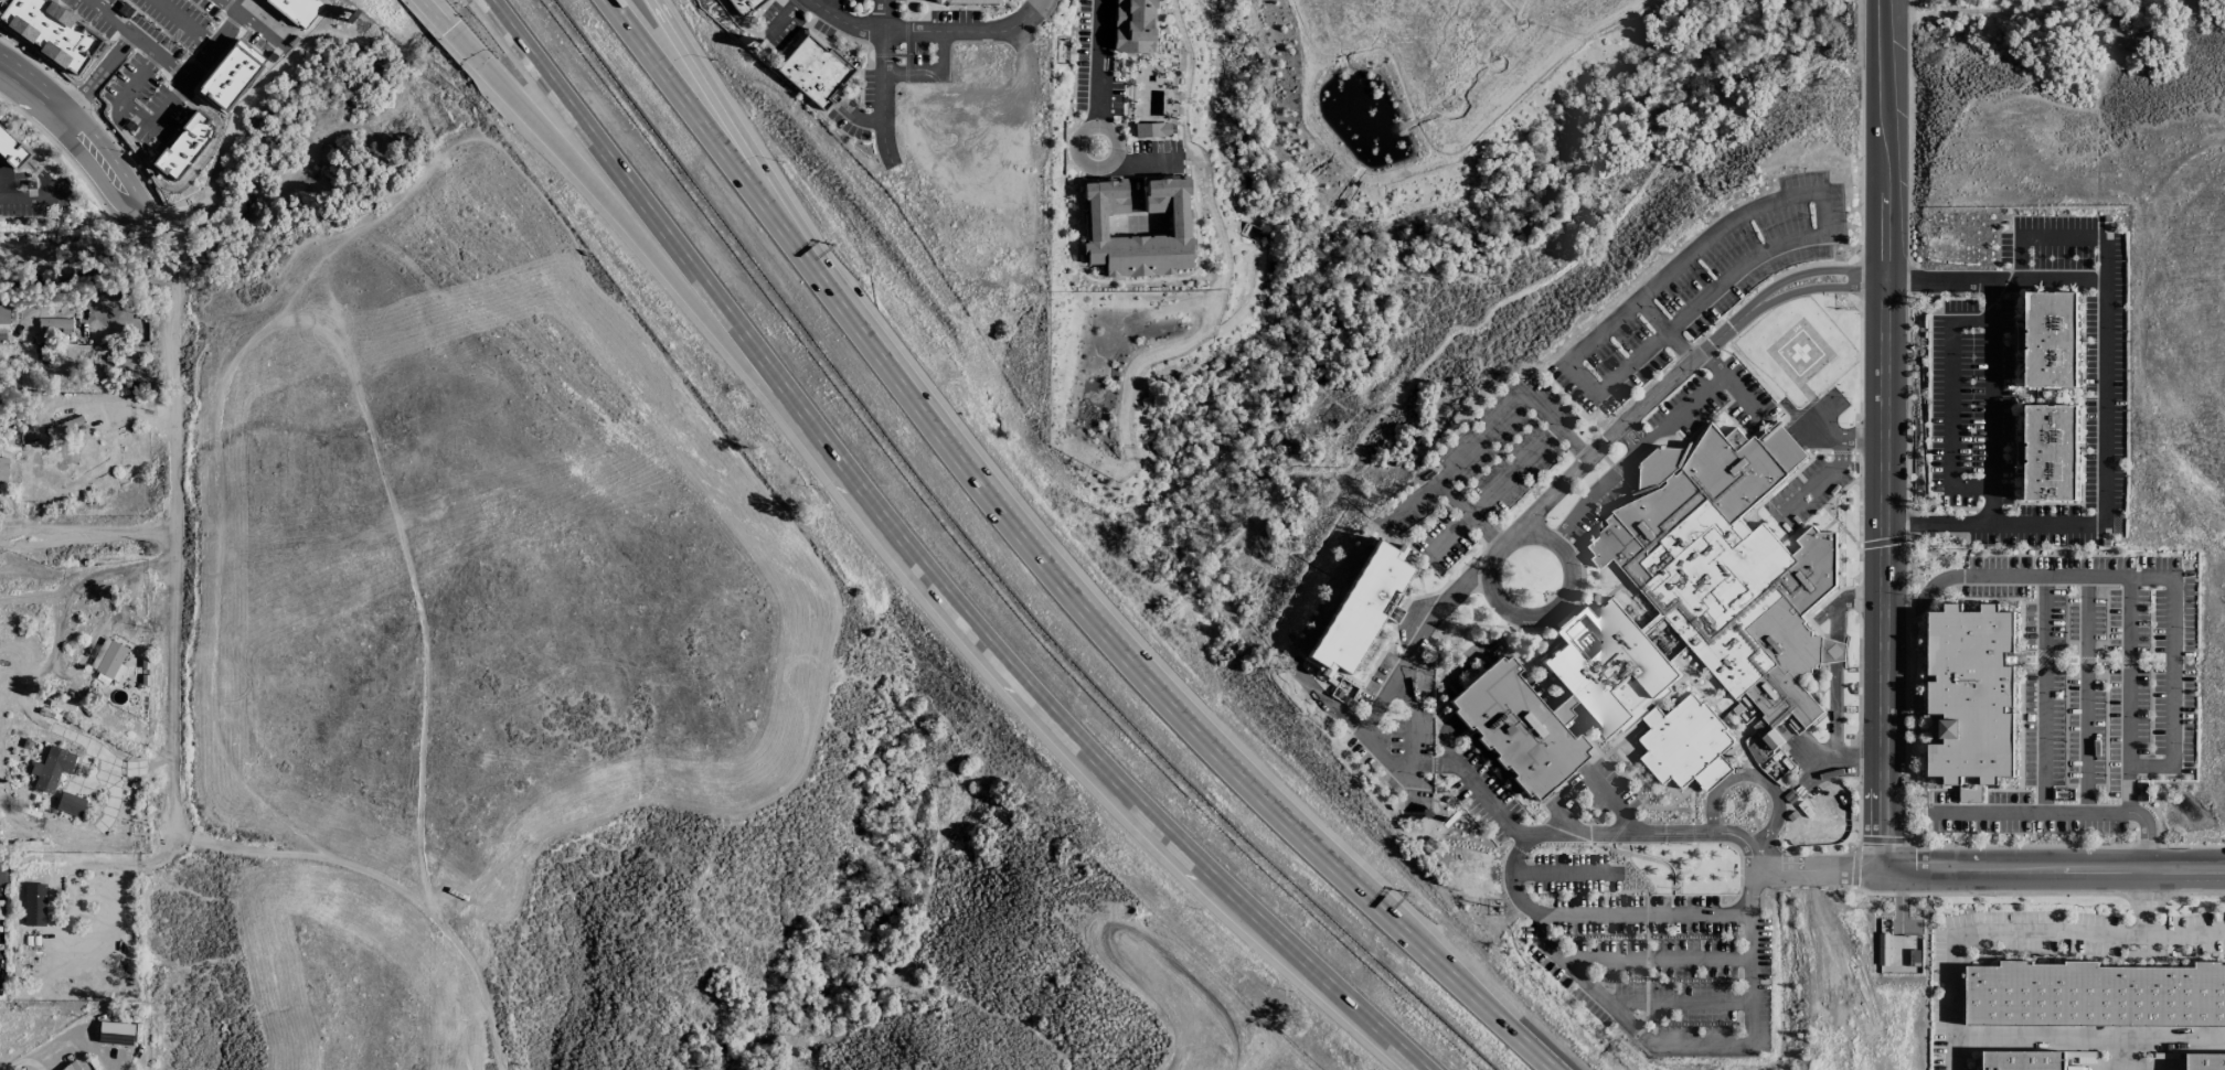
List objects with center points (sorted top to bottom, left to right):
building: (937, 1)
building: (972, 1)
road: (231, 6)
building: (746, 6)
building: (296, 10)
building: (19, 13)
road: (437, 13)
flagpole: (914, 13)
road: (886, 15)
road: (109, 18)
road: (781, 18)
road: (739, 21)
road: (849, 21)
road: (184, 22)
building: (1132, 26)
building: (46, 28)
traffic signals: (450, 28)
road: (262, 30)
road: (969, 32)
road: (2037, 35)
road: (212, 43)
building: (77, 52)
road: (159, 55)
road: (1030, 65)
building: (815, 71)
road: (1099, 72)
building: (230, 74)
road: (934, 74)
road: (706, 79)
road: (93, 82)
road: (675, 83)
road: (2101, 90)
road: (883, 97)
road: (132, 114)
road: (861, 118)
building: (190, 137)
road: (557, 139)
building: (12, 149)
road: (1135, 160)
building: (169, 163)
road: (183, 180)
road: (6, 189)
road: (21, 195)
building: (1179, 224)
road: (2063, 236)
road: (1706, 239)
road: (1811, 269)
road: (1816, 286)
building: (3, 314)
road: (1652, 315)
building: (54, 325)
building: (2055, 342)
helipad: (1799, 352)
road: (1743, 398)
road: (2102, 400)
road: (1950, 402)
road: (1991, 403)
road: (1821, 429)
road: (173, 430)
road: (1884, 435)
road: (1632, 436)
road: (1478, 438)
road: (1647, 445)
building: (2054, 454)
road: (1660, 466)
road: (1838, 466)
road: (1514, 469)
road: (1409, 502)
road: (993, 510)
road: (87, 533)
road: (1450, 536)
road: (919, 564)
building: (1728, 568)
road: (1468, 577)
road: (2171, 597)
road: (1556, 603)
building: (1360, 609)
building: (107, 657)
road: (2130, 670)
road: (1833, 685)
road: (2045, 695)
road: (2087, 695)
building: (1974, 698)
road: (1323, 703)
building: (1594, 706)
road: (1445, 741)
road: (1816, 768)
building: (51, 769)
road: (1756, 777)
road: (1473, 784)
road: (1611, 803)
building: (70, 804)
road: (2041, 816)
road: (1616, 836)
road: (1755, 862)
road: (2055, 870)
road: (1818, 871)
road: (1563, 874)
road: (387, 884)
building: (34, 905)
road: (2151, 905)
road: (1644, 910)
road: (2023, 931)
road: (1417, 946)
road: (1656, 959)
building: (2095, 995)
road: (1679, 1001)
road: (1643, 1032)
road: (2087, 1038)
road: (2128, 1055)
road: (28, 1058)
building: (2024, 1060)
building: (2205, 1062)
building: (71, 1067)

